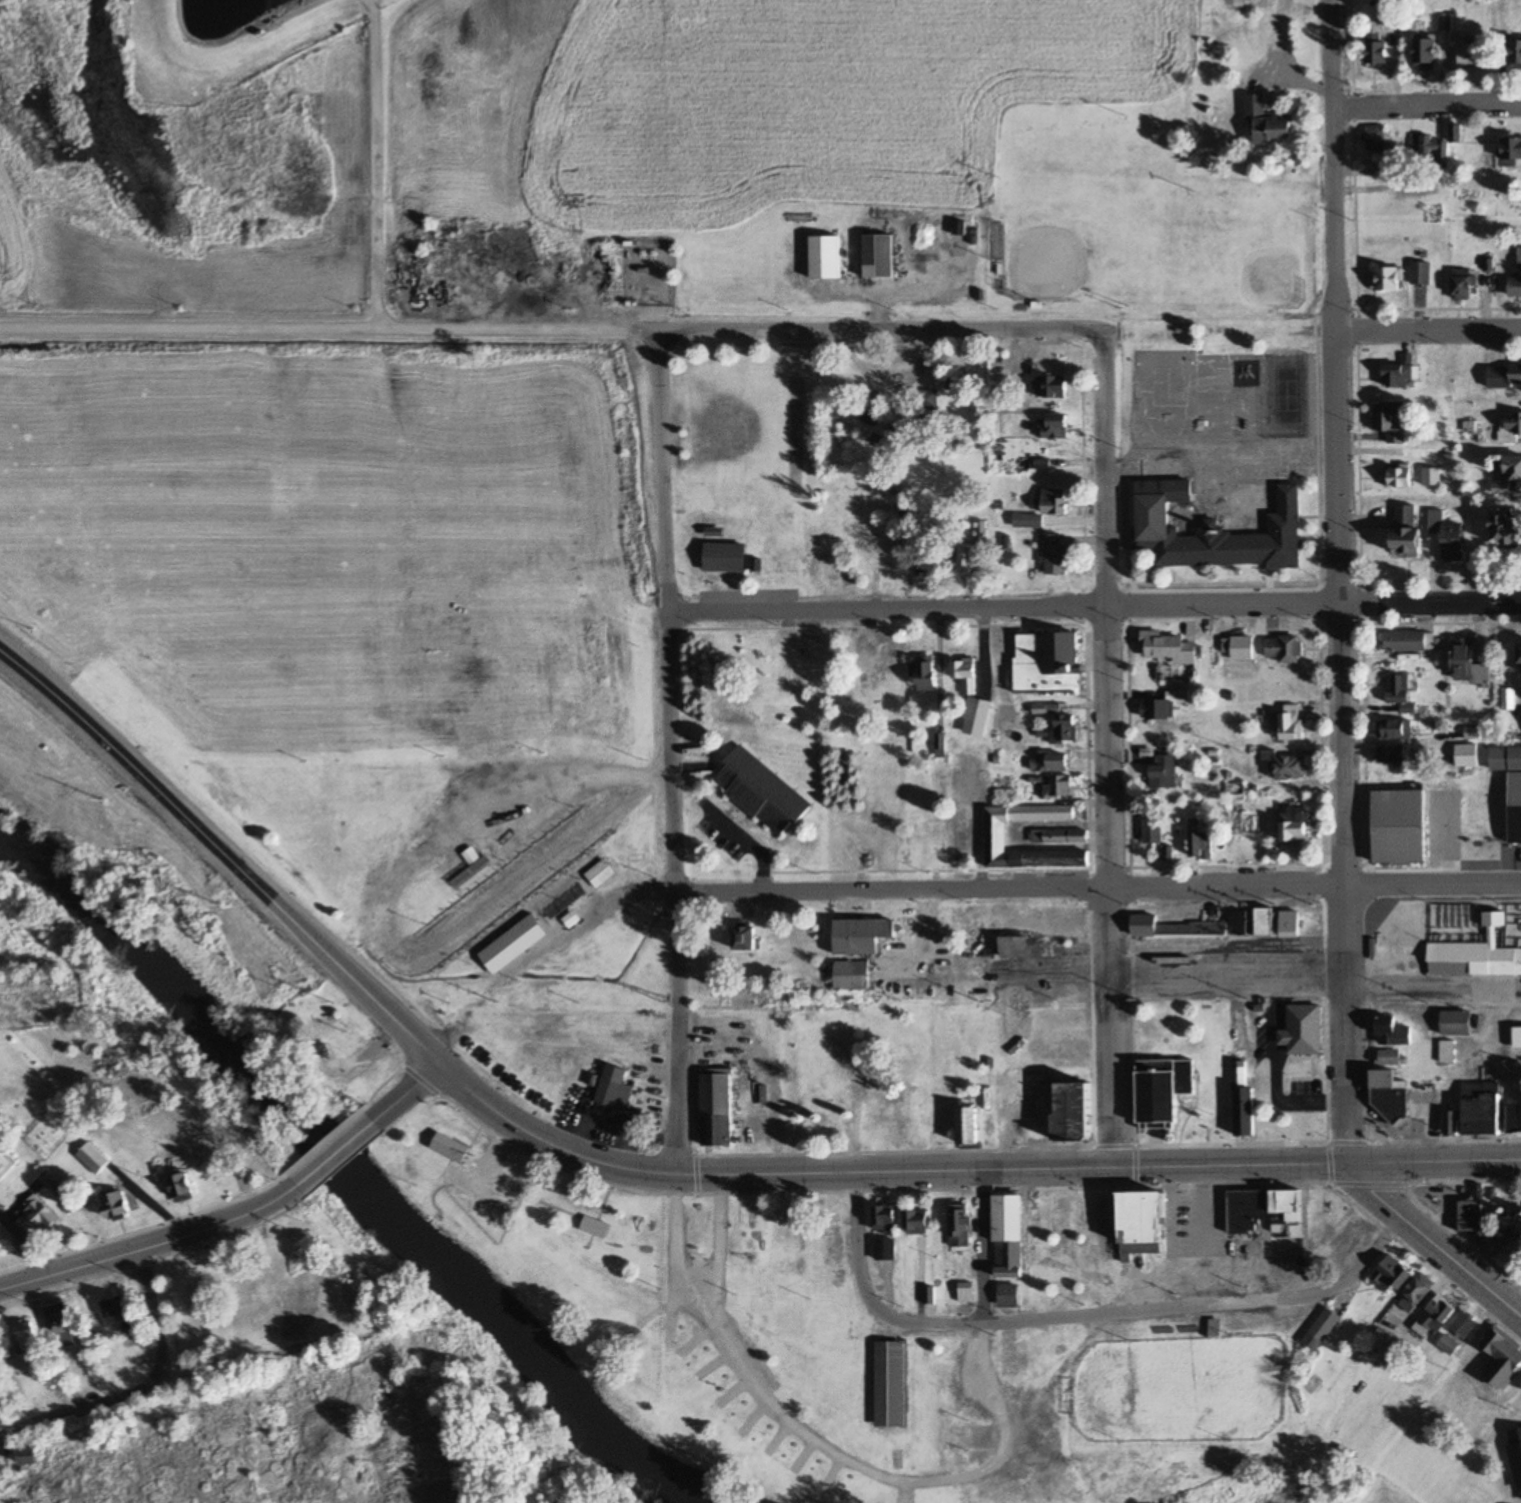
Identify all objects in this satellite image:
building: (1390, 12)
road: (1350, 44)
building: (1376, 48)
building: (1425, 53)
building: (1472, 53)
building: (1515, 54)
road: (1427, 106)
building: (1266, 121)
building: (1456, 133)
building: (1375, 138)
building: (1429, 148)
building: (1511, 151)
building: (958, 228)
building: (825, 256)
building: (878, 256)
building: (1419, 273)
building: (1387, 278)
building: (1462, 283)
building: (1514, 287)
road: (1355, 297)
road: (1022, 327)
road: (1430, 327)
road: (471, 331)
building: (1398, 373)
building: (1504, 375)
building: (1050, 387)
park: (1285, 396)
building: (925, 401)
building: (1387, 420)
building: (866, 422)
building: (1513, 423)
building: (1052, 426)
building: (1511, 469)
building: (1397, 477)
building: (1042, 509)
building: (1207, 528)
building: (1505, 528)
building: (980, 532)
building: (1405, 532)
building: (1447, 536)
building: (1003, 541)
road: (1358, 544)
building: (1051, 554)
building: (723, 556)
building: (884, 559)
building: (963, 560)
building: (926, 564)
road: (1339, 582)
road: (1145, 603)
road: (1430, 603)
road: (810, 609)
road: (1440, 624)
building: (1408, 642)
building: (1167, 647)
building: (1238, 648)
building: (1283, 649)
building: (886, 656)
building: (1520, 657)
building: (810, 659)
building: (1047, 661)
building: (1469, 663)
building: (923, 675)
building: (866, 683)
building: (785, 687)
building: (850, 692)
building: (1398, 692)
building: (971, 698)
building: (1507, 700)
building: (1046, 708)
building: (1156, 709)
building: (1290, 723)
building: (1061, 729)
building: (1394, 729)
road: (1088, 741)
road: (1111, 751)
road: (670, 755)
building: (1391, 755)
building: (1465, 756)
building: (1050, 761)
building: (1288, 768)
building: (1163, 771)
building: (1058, 786)
building: (1510, 786)
building: (762, 791)
building: (1294, 825)
building: (1398, 828)
building: (1152, 831)
building: (995, 835)
building: (1058, 836)
road: (745, 840)
building: (1201, 845)
building: (1167, 852)
road: (224, 854)
road: (1228, 866)
building: (600, 875)
road: (1433, 886)
road: (1152, 890)
road: (816, 892)
building: (564, 901)
building: (568, 922)
building: (1264, 922)
building: (1289, 922)
building: (1239, 923)
building: (1176, 927)
building: (860, 936)
building: (743, 937)
building: (512, 944)
building: (1026, 946)
building: (770, 956)
building: (1474, 956)
building: (851, 975)
road: (1230, 985)
road: (1433, 987)
building: (804, 1019)
building: (1456, 1023)
building: (1302, 1029)
building: (1392, 1032)
building: (1517, 1038)
building: (1448, 1052)
building: (1390, 1058)
building: (854, 1064)
building: (1239, 1072)
building: (593, 1080)
building: (614, 1089)
building: (1162, 1089)
road: (407, 1094)
building: (1389, 1094)
building: (1481, 1108)
building: (716, 1110)
building: (824, 1110)
building: (1245, 1110)
building: (1073, 1113)
building: (894, 1117)
building: (1514, 1119)
building: (1451, 1123)
building: (968, 1125)
building: (451, 1147)
road: (336, 1155)
building: (92, 1157)
building: (5, 1162)
road: (1434, 1162)
road: (1234, 1167)
road: (1042, 1170)
road: (687, 1177)
building: (180, 1186)
river: (360, 1194)
building: (114, 1204)
building: (1248, 1210)
building: (1285, 1211)
building: (40, 1213)
building: (1470, 1215)
building: (1140, 1222)
building: (961, 1225)
building: (595, 1227)
building: (918, 1227)
building: (886, 1229)
building: (1298, 1230)
road: (678, 1231)
building: (1010, 1234)
building: (1509, 1234)
building: (832, 1235)
road: (1203, 1240)
road: (26, 1242)
road: (152, 1243)
road: (1432, 1243)
road: (983, 1247)
road: (719, 1248)
building: (834, 1268)
building: (1392, 1276)
building: (966, 1292)
building: (1416, 1292)
building: (930, 1296)
building: (1009, 1296)
road: (869, 1297)
building: (113, 1310)
road: (1213, 1312)
building: (1436, 1314)
road: (150, 1319)
building: (58, 1323)
building: (1465, 1324)
building: (1322, 1328)
building: (26, 1336)
park: (843, 1343)
building: (1449, 1345)
building: (1502, 1360)
building: (705, 1371)
building: (890, 1384)
road: (73, 1414)
building: (1516, 1455)
building: (28, 1457)
road: (876, 1473)

